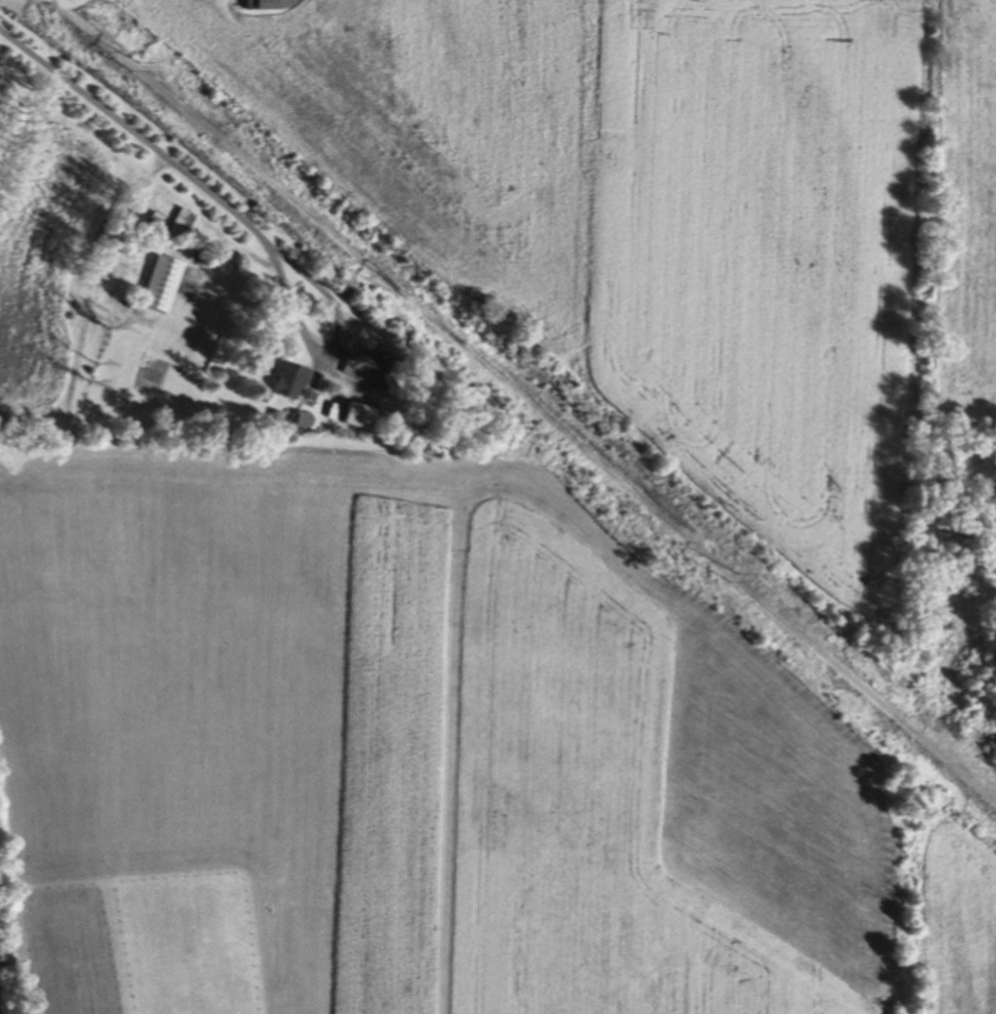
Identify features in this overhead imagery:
building: (269, 3)
power tower: (131, 63)
road: (127, 136)
building: (180, 232)
building: (162, 287)
power tower: (398, 288)
road: (329, 351)
building: (367, 369)
building: (291, 384)
building: (357, 419)
power tower: (742, 585)

